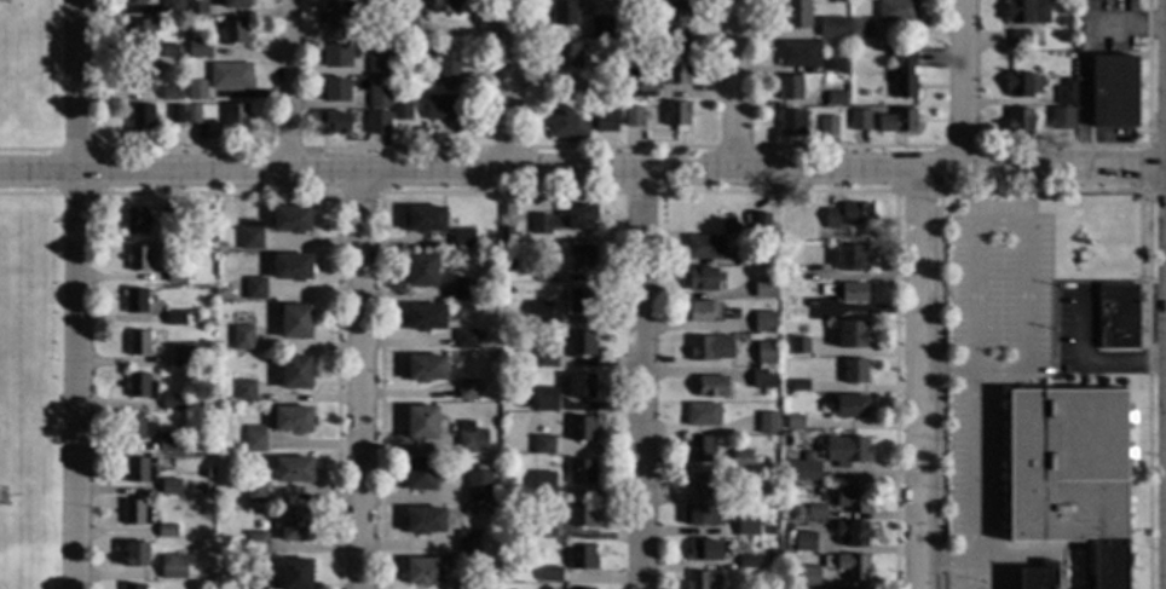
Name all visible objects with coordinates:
building: (133, 1)
building: (235, 5)
building: (444, 6)
building: (196, 7)
building: (172, 8)
building: (896, 11)
building: (1026, 12)
building: (564, 13)
building: (796, 15)
building: (339, 17)
building: (676, 24)
building: (214, 27)
building: (601, 28)
building: (831, 28)
building: (859, 28)
building: (405, 29)
building: (140, 31)
building: (233, 33)
building: (379, 33)
building: (1018, 40)
building: (630, 48)
building: (168, 51)
building: (201, 51)
building: (798, 54)
building: (336, 56)
building: (567, 56)
building: (1069, 57)
building: (624, 63)
building: (379, 64)
building: (446, 64)
building: (836, 67)
building: (674, 74)
building: (905, 75)
building: (230, 76)
building: (140, 77)
building: (168, 79)
road: (513, 83)
road: (287, 85)
road: (737, 85)
road: (965, 85)
building: (1022, 85)
building: (598, 86)
building: (394, 87)
building: (790, 88)
building: (335, 91)
building: (646, 91)
building: (1066, 93)
building: (1114, 93)
building: (171, 94)
building: (195, 96)
building: (379, 97)
building: (835, 99)
building: (441, 108)
building: (402, 111)
building: (194, 114)
building: (175, 115)
building: (235, 116)
building: (677, 116)
building: (1066, 116)
building: (142, 117)
building: (633, 117)
building: (605, 121)
building: (860, 121)
building: (897, 122)
building: (1020, 122)
building: (334, 123)
building: (379, 123)
building: (791, 123)
building: (568, 125)
building: (827, 126)
building: (434, 128)
road: (582, 168)
building: (848, 215)
building: (168, 219)
building: (290, 220)
building: (425, 220)
building: (565, 220)
building: (134, 221)
building: (756, 221)
building: (727, 225)
road: (1021, 230)
building: (250, 236)
building: (503, 238)
building: (462, 239)
building: (220, 247)
building: (703, 247)
building: (745, 258)
building: (850, 258)
building: (138, 259)
building: (581, 259)
building: (291, 267)
building: (421, 271)
building: (206, 275)
building: (546, 276)
building: (784, 276)
building: (175, 277)
building: (704, 278)
building: (764, 288)
building: (255, 289)
building: (463, 289)
building: (850, 293)
road: (79, 294)
building: (581, 301)
building: (134, 302)
building: (796, 308)
building: (538, 312)
building: (702, 312)
building: (425, 317)
building: (1118, 317)
building: (174, 319)
building: (295, 322)
building: (763, 322)
building: (481, 335)
building: (852, 335)
building: (242, 337)
building: (466, 340)
building: (138, 343)
building: (582, 343)
building: (798, 346)
building: (710, 347)
building: (766, 353)
building: (186, 356)
building: (547, 358)
road: (1093, 360)
building: (502, 365)
building: (426, 368)
building: (855, 371)
building: (295, 373)
road: (643, 379)
building: (763, 379)
road: (919, 379)
road: (362, 380)
building: (581, 386)
building: (800, 386)
building: (139, 387)
building: (712, 387)
building: (467, 389)
building: (244, 392)
building: (546, 400)
building: (172, 403)
building: (850, 406)
building: (702, 415)
building: (293, 420)
building: (421, 423)
building: (767, 423)
building: (796, 425)
building: (137, 428)
building: (581, 429)
building: (254, 439)
building: (471, 439)
building: (168, 443)
building: (543, 445)
building: (699, 450)
building: (847, 451)
building: (741, 460)
building: (204, 461)
road: (974, 466)
building: (139, 470)
building: (294, 470)
building: (581, 472)
building: (803, 472)
building: (420, 474)
building: (1070, 474)
building: (543, 483)
building: (703, 483)
building: (169, 487)
building: (479, 487)
building: (255, 492)
building: (732, 497)
building: (853, 500)
building: (745, 507)
building: (468, 512)
building: (816, 512)
building: (135, 513)
building: (802, 513)
building: (699, 514)
building: (581, 515)
building: (425, 521)
building: (295, 525)
building: (746, 525)
building: (546, 529)
building: (167, 531)
building: (770, 531)
building: (508, 533)
building: (853, 533)
building: (468, 542)
building: (203, 543)
building: (256, 543)
building: (806, 543)
building: (787, 548)
building: (702, 549)
building: (770, 552)
building: (135, 555)
building: (582, 558)
building: (746, 562)
building: (849, 565)
building: (173, 567)
road: (992, 567)
building: (425, 571)
building: (295, 574)
building: (550, 574)
road: (964, 574)
building: (807, 576)
building: (1039, 576)
building: (703, 579)
building: (468, 585)
building: (132, 587)
building: (255, 588)
building: (591, 588)
building: (867, 588)

